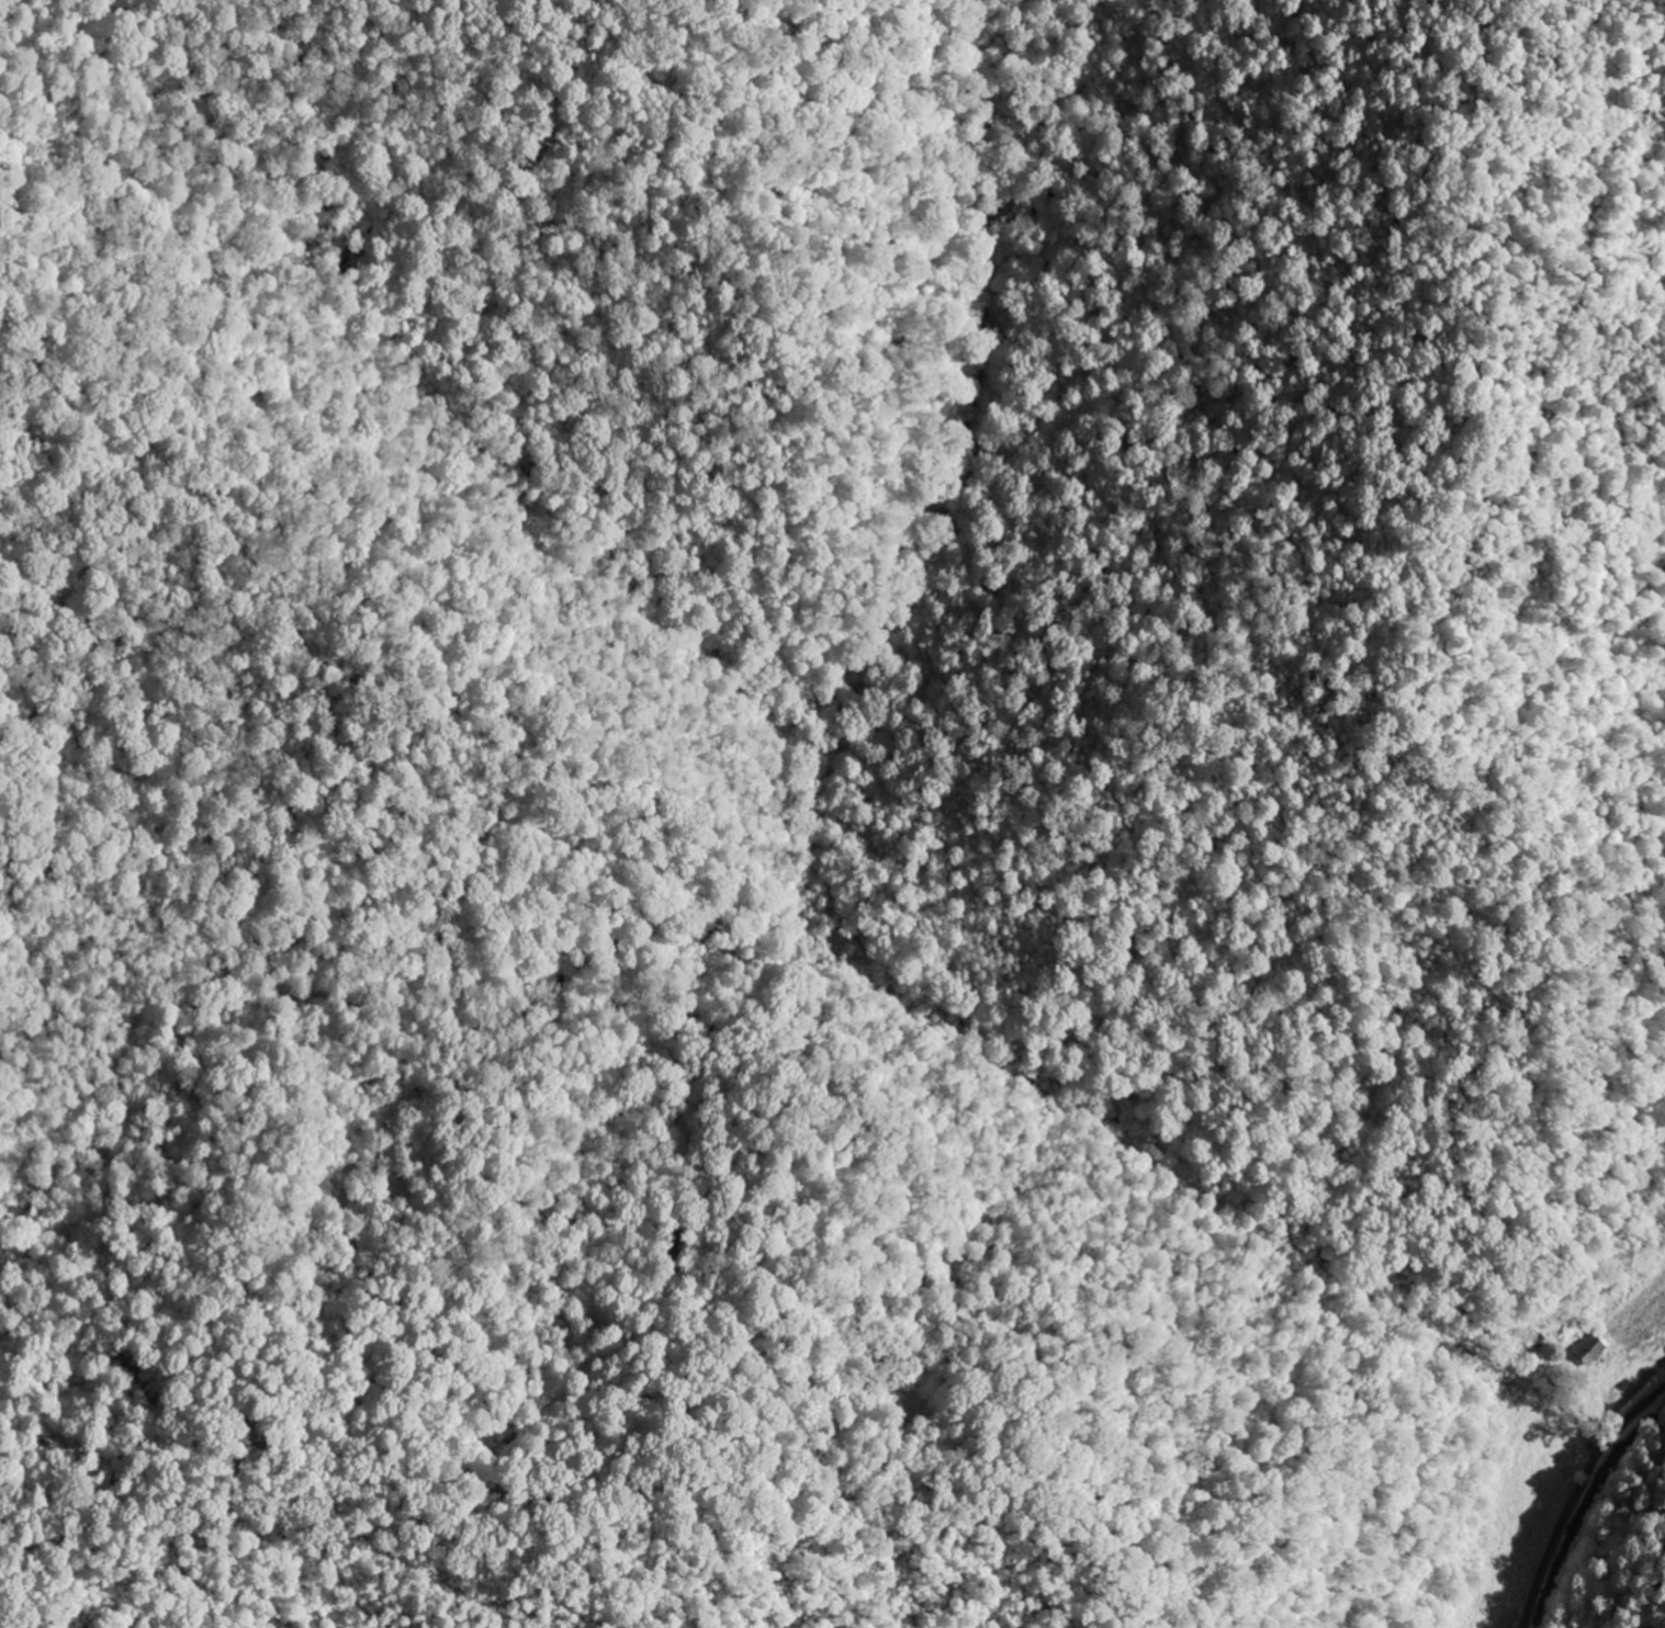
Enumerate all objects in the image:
road: (1578, 1496)

